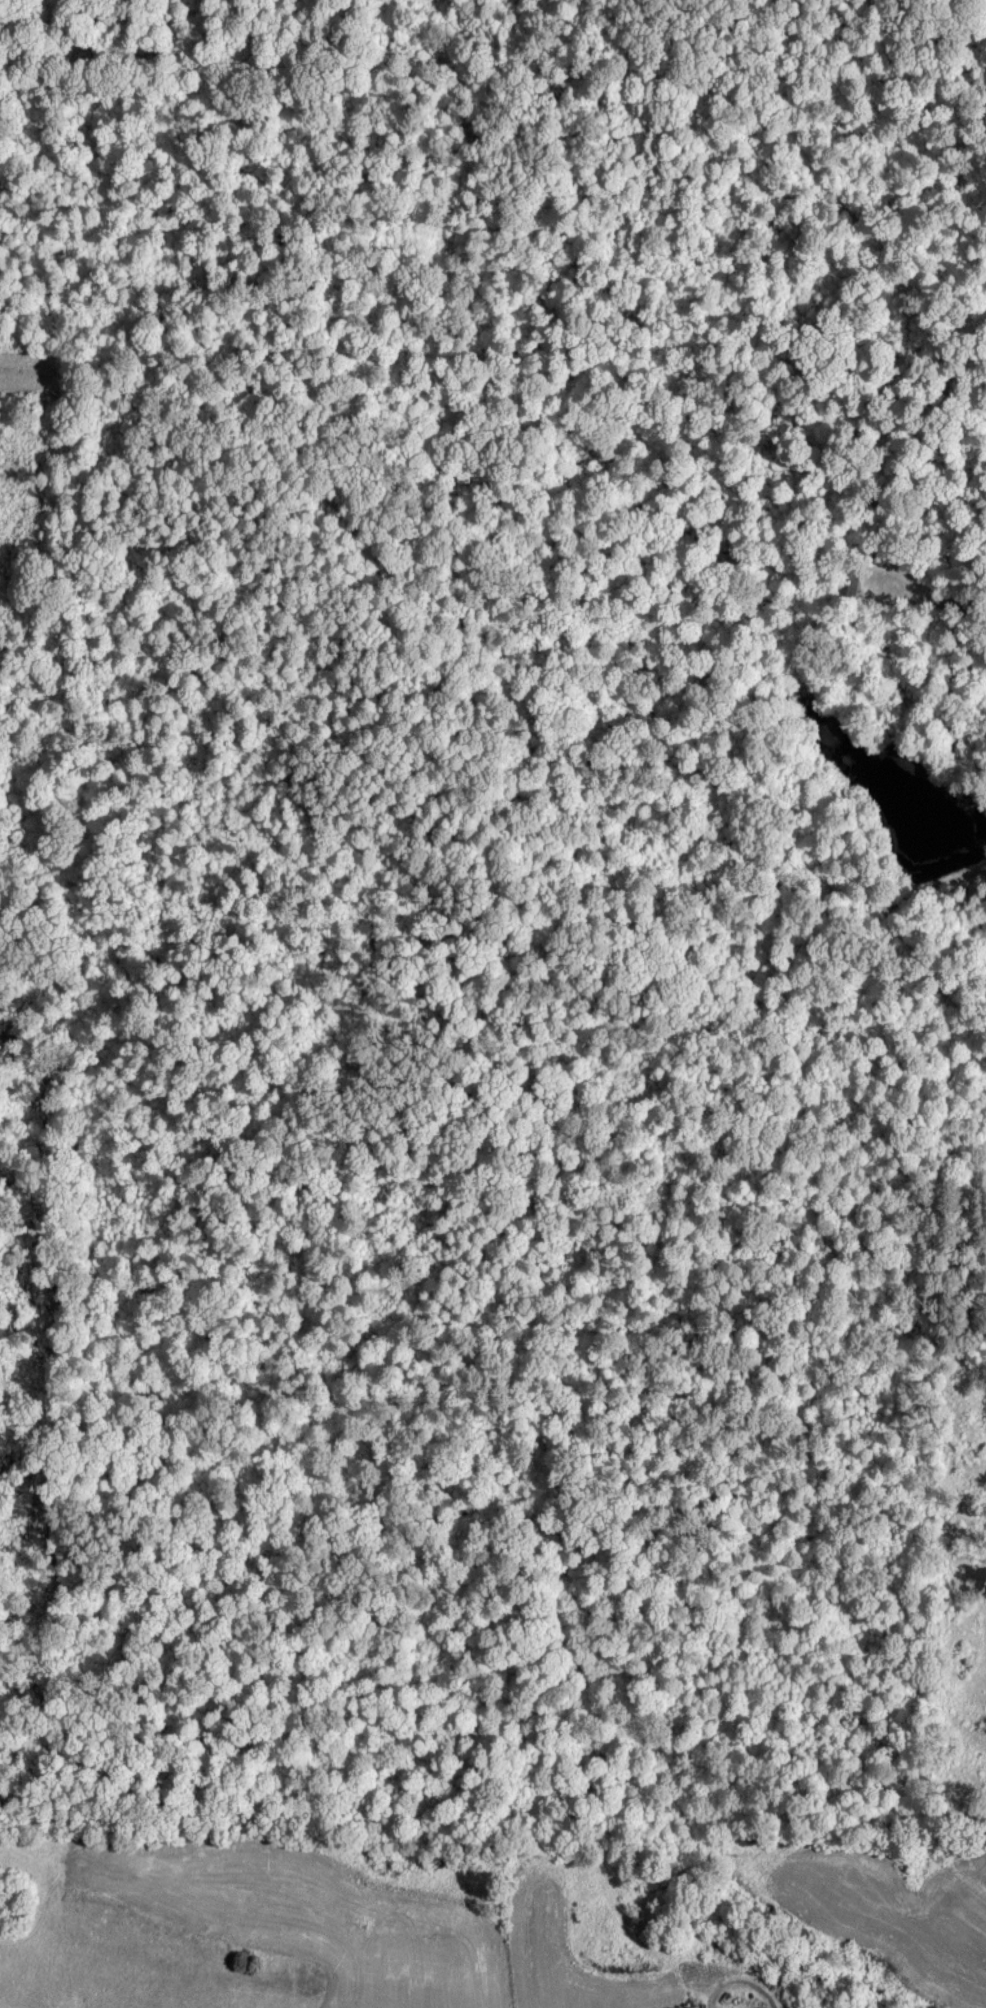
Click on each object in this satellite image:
building: (847, 582)
building: (760, 2007)

